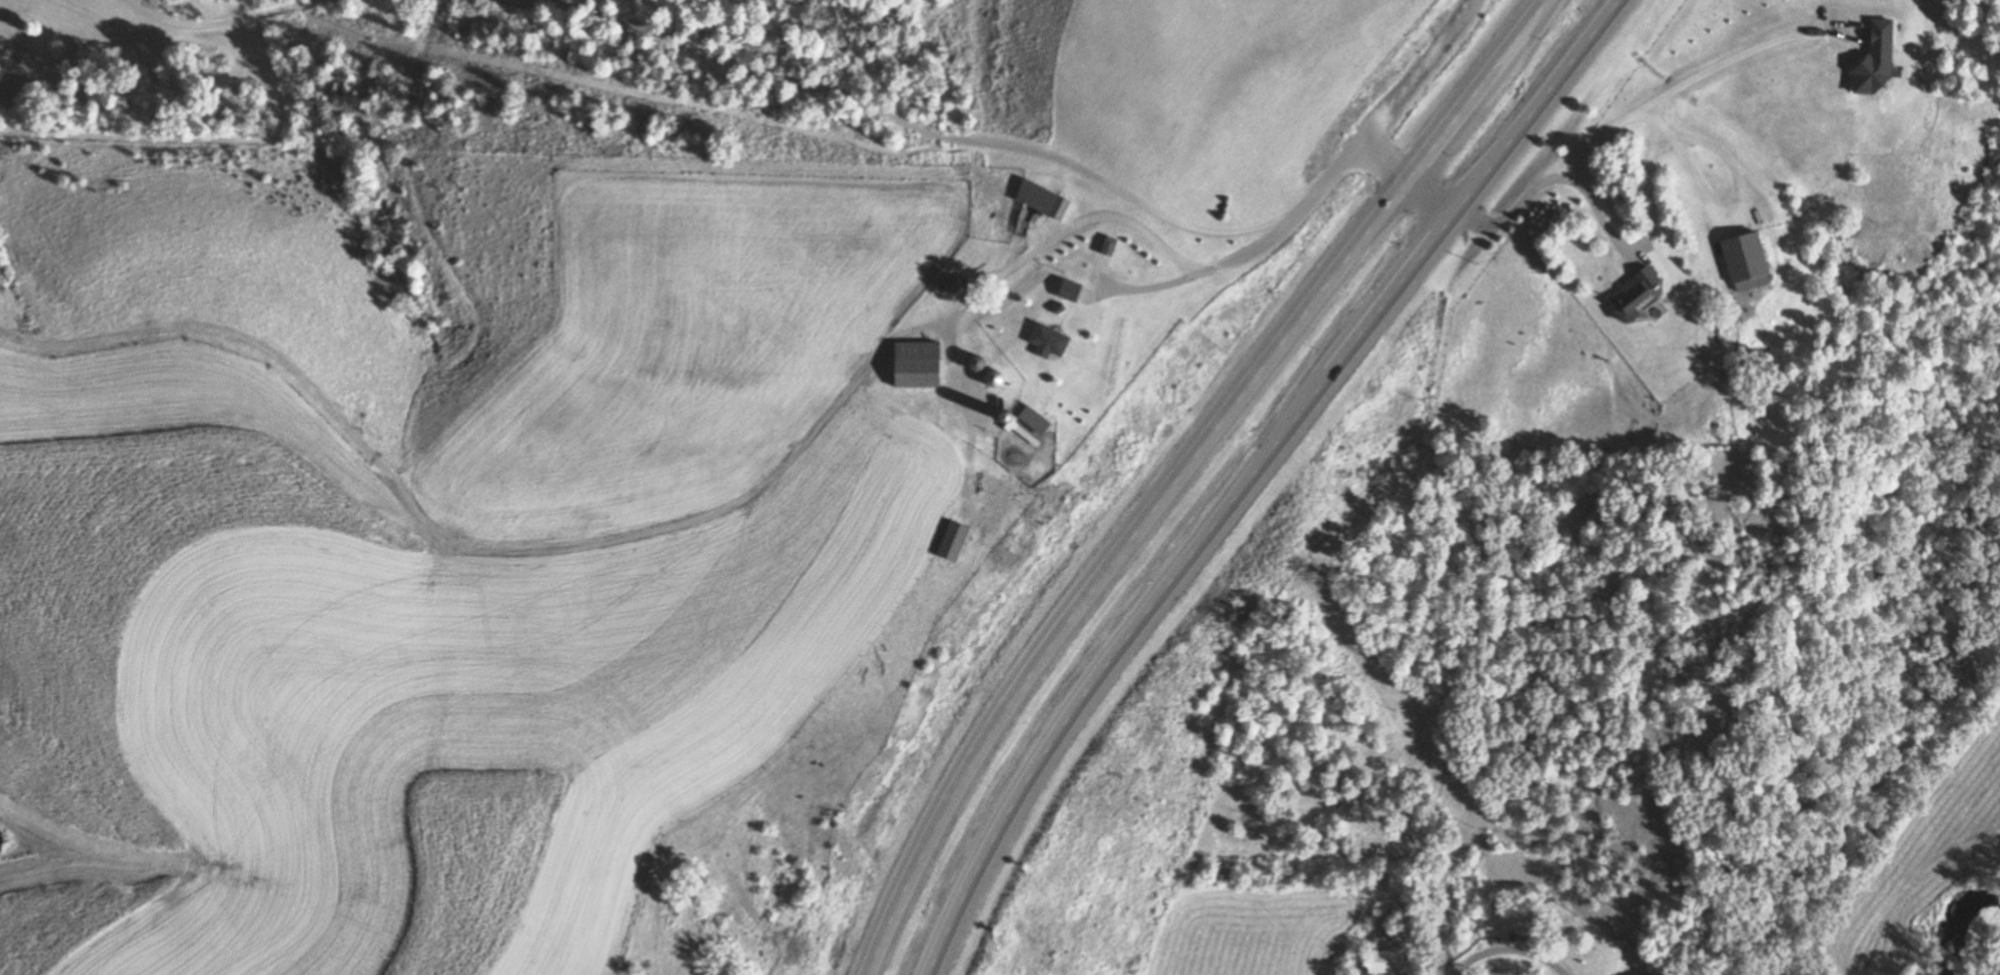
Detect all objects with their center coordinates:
road: (245, 20)
road: (1418, 73)
road: (951, 138)
building: (1040, 201)
road: (1506, 211)
road: (1092, 221)
building: (1104, 246)
building: (1736, 260)
building: (1062, 290)
road: (1152, 290)
building: (1624, 293)
building: (1042, 340)
building: (909, 365)
building: (1027, 420)
road: (1175, 470)
road: (1253, 473)
building: (940, 542)
road: (1506, 950)
building: (1377, 963)

